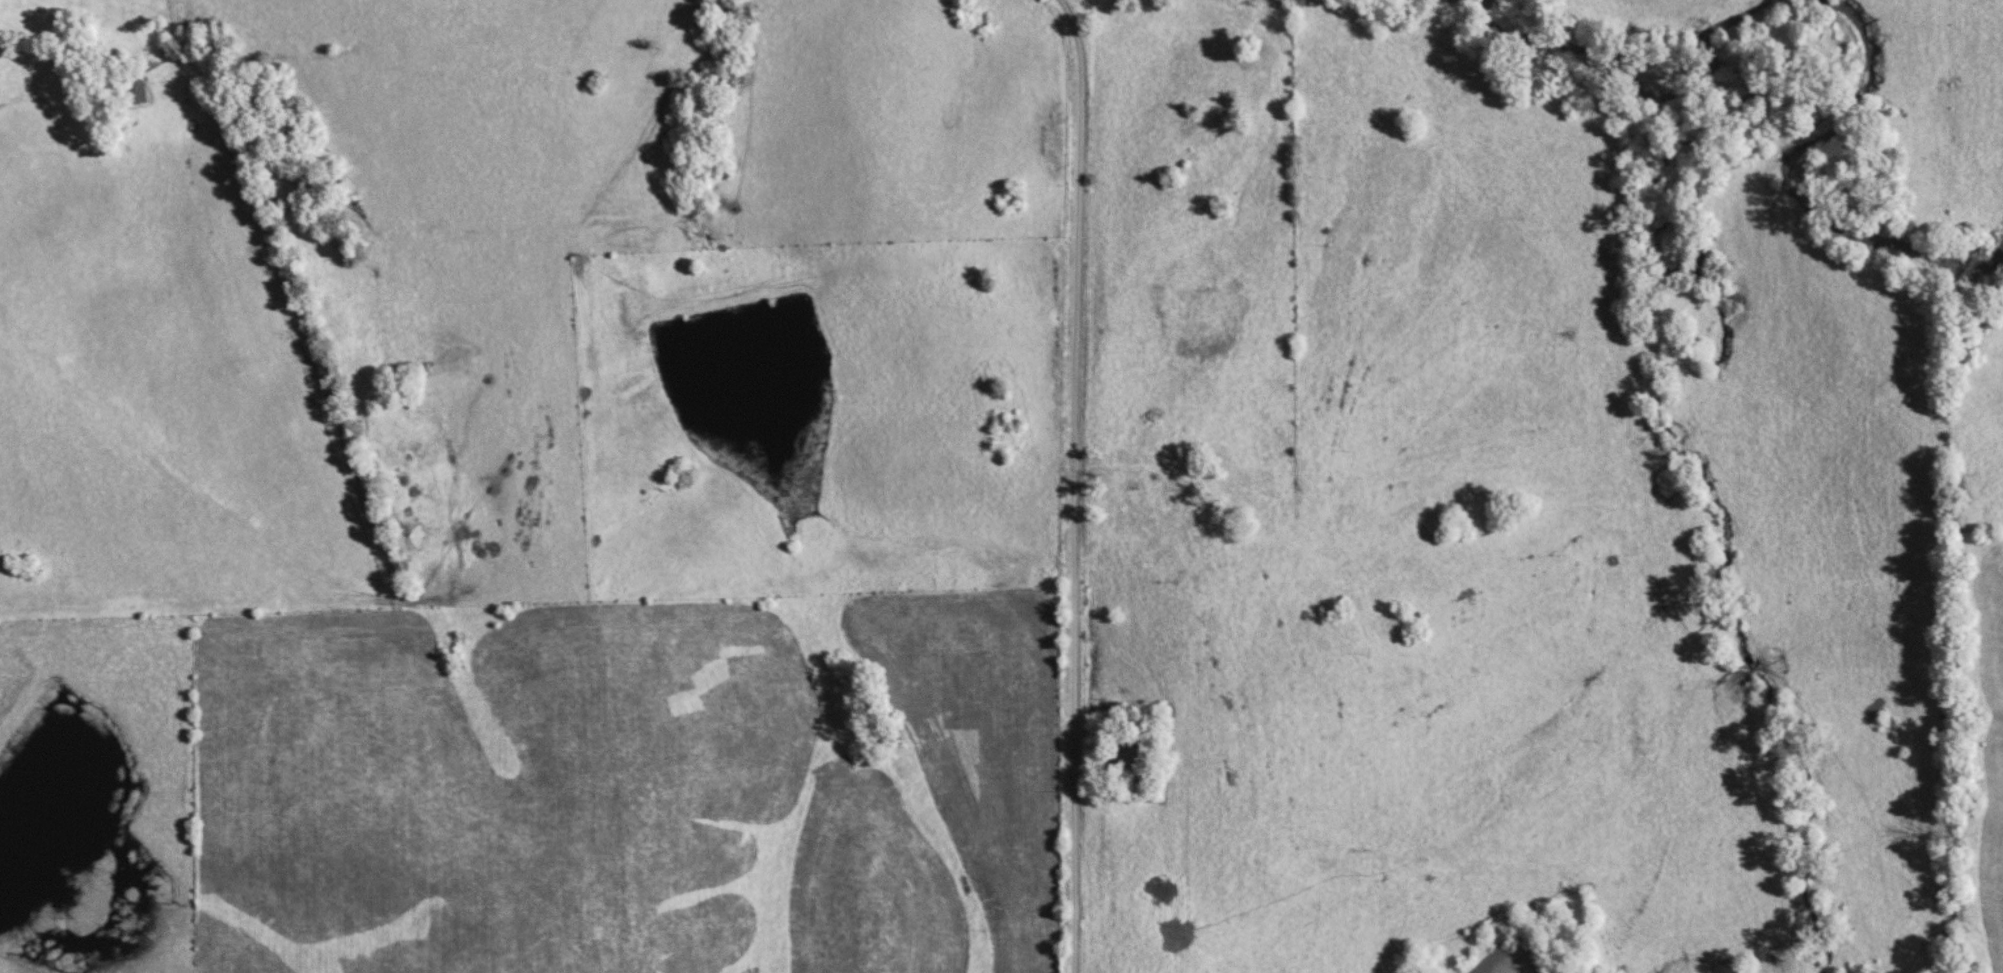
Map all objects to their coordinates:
building: (134, 88)
road: (1072, 483)
building: (1134, 489)
building: (1174, 542)

